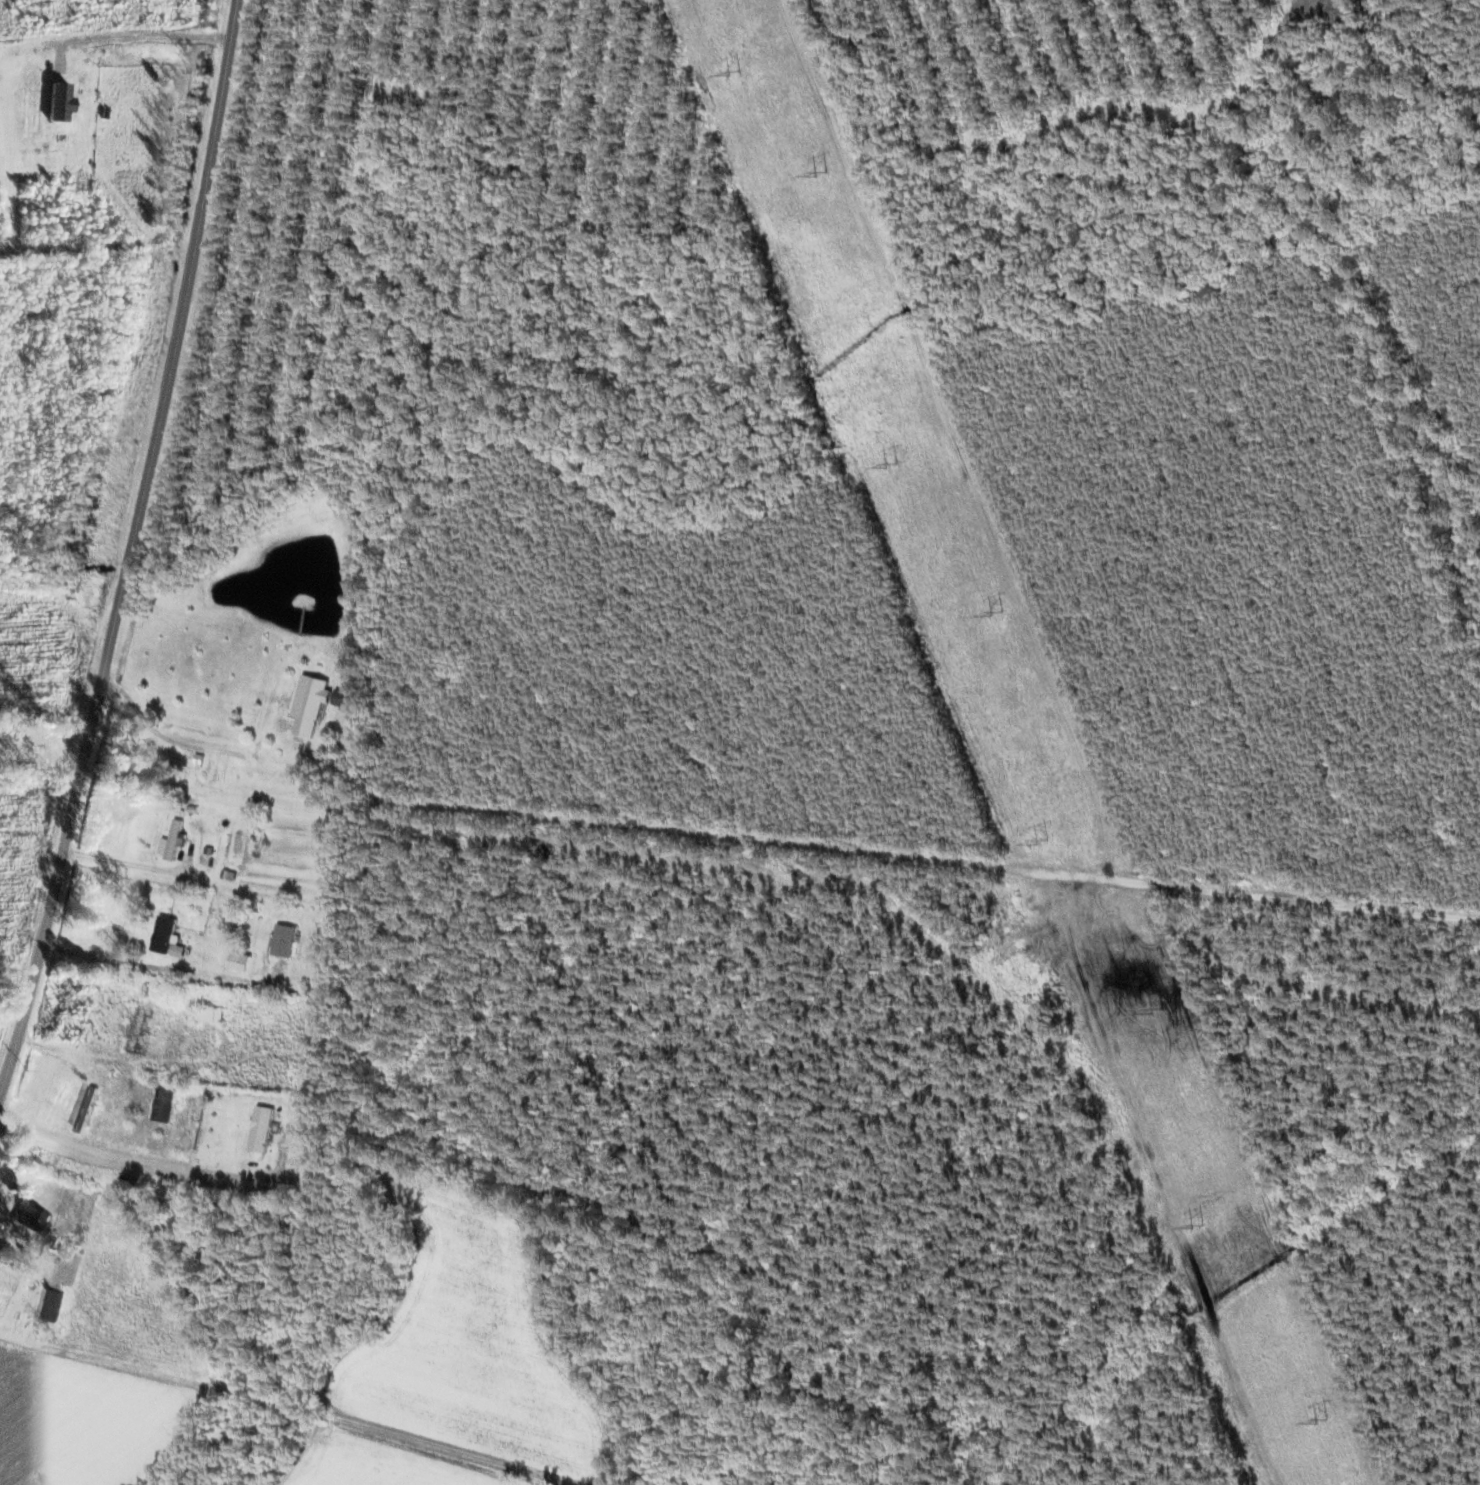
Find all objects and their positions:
road: (1367, 20)
power tower: (732, 70)
power tower: (822, 173)
power tower: (892, 467)
road: (132, 546)
power tower: (998, 612)
building: (346, 698)
building: (312, 704)
building: (176, 840)
power tower: (1043, 841)
road: (967, 865)
building: (166, 935)
road: (248, 937)
building: (287, 941)
building: (242, 961)
power tower: (1157, 1011)
building: (211, 1015)
building: (141, 1031)
building: (166, 1105)
building: (88, 1109)
building: (263, 1129)
building: (34, 1219)
power tower: (1201, 1229)
building: (60, 1245)
building: (55, 1306)
power tower: (1322, 1420)

